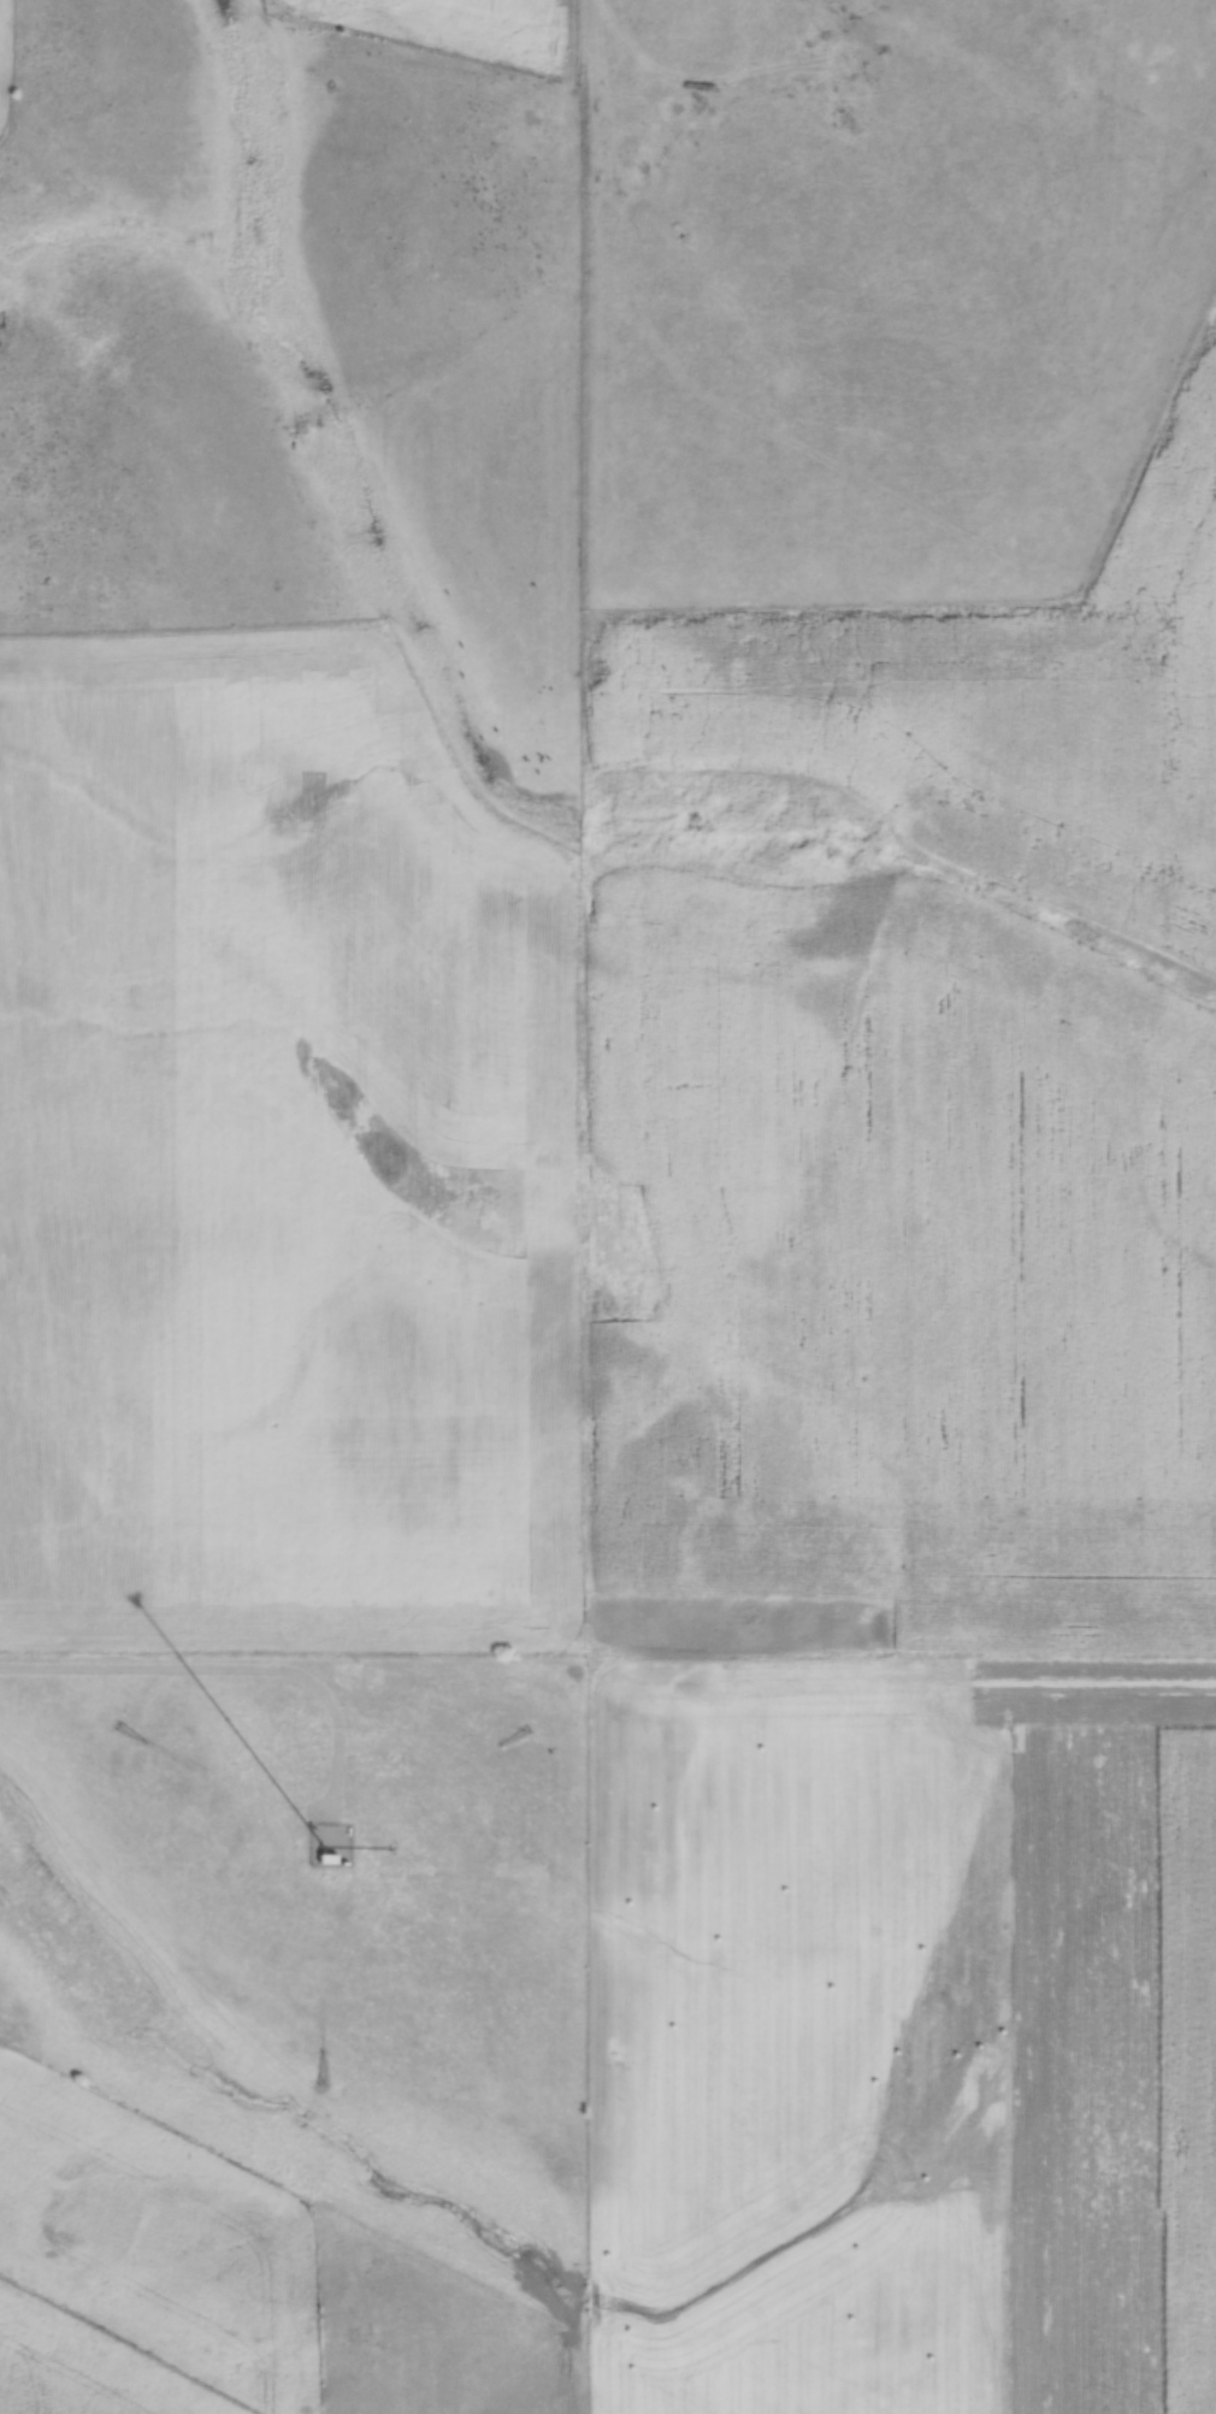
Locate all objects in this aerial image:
road: (201, 1671)

